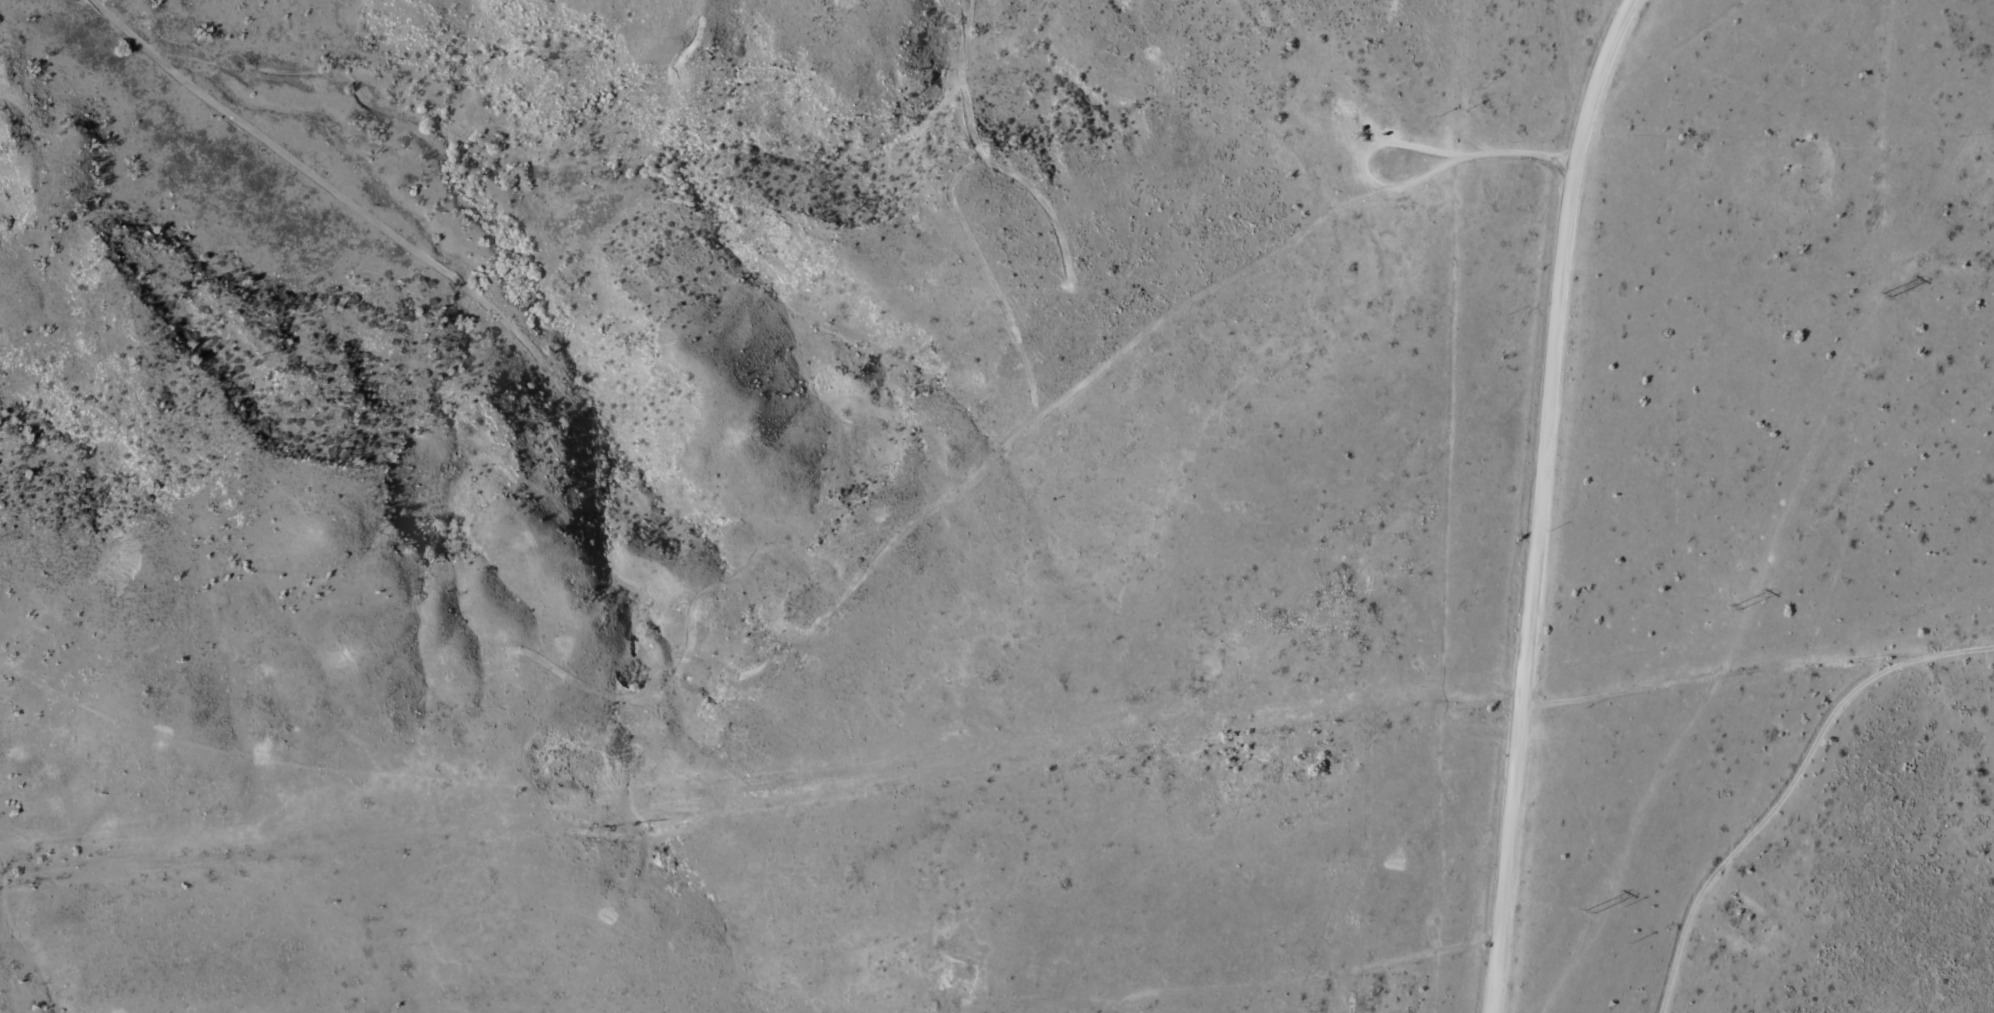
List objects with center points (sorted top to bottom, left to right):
power tower: (1889, 294)
power tower: (1736, 607)
power tower: (1590, 912)

